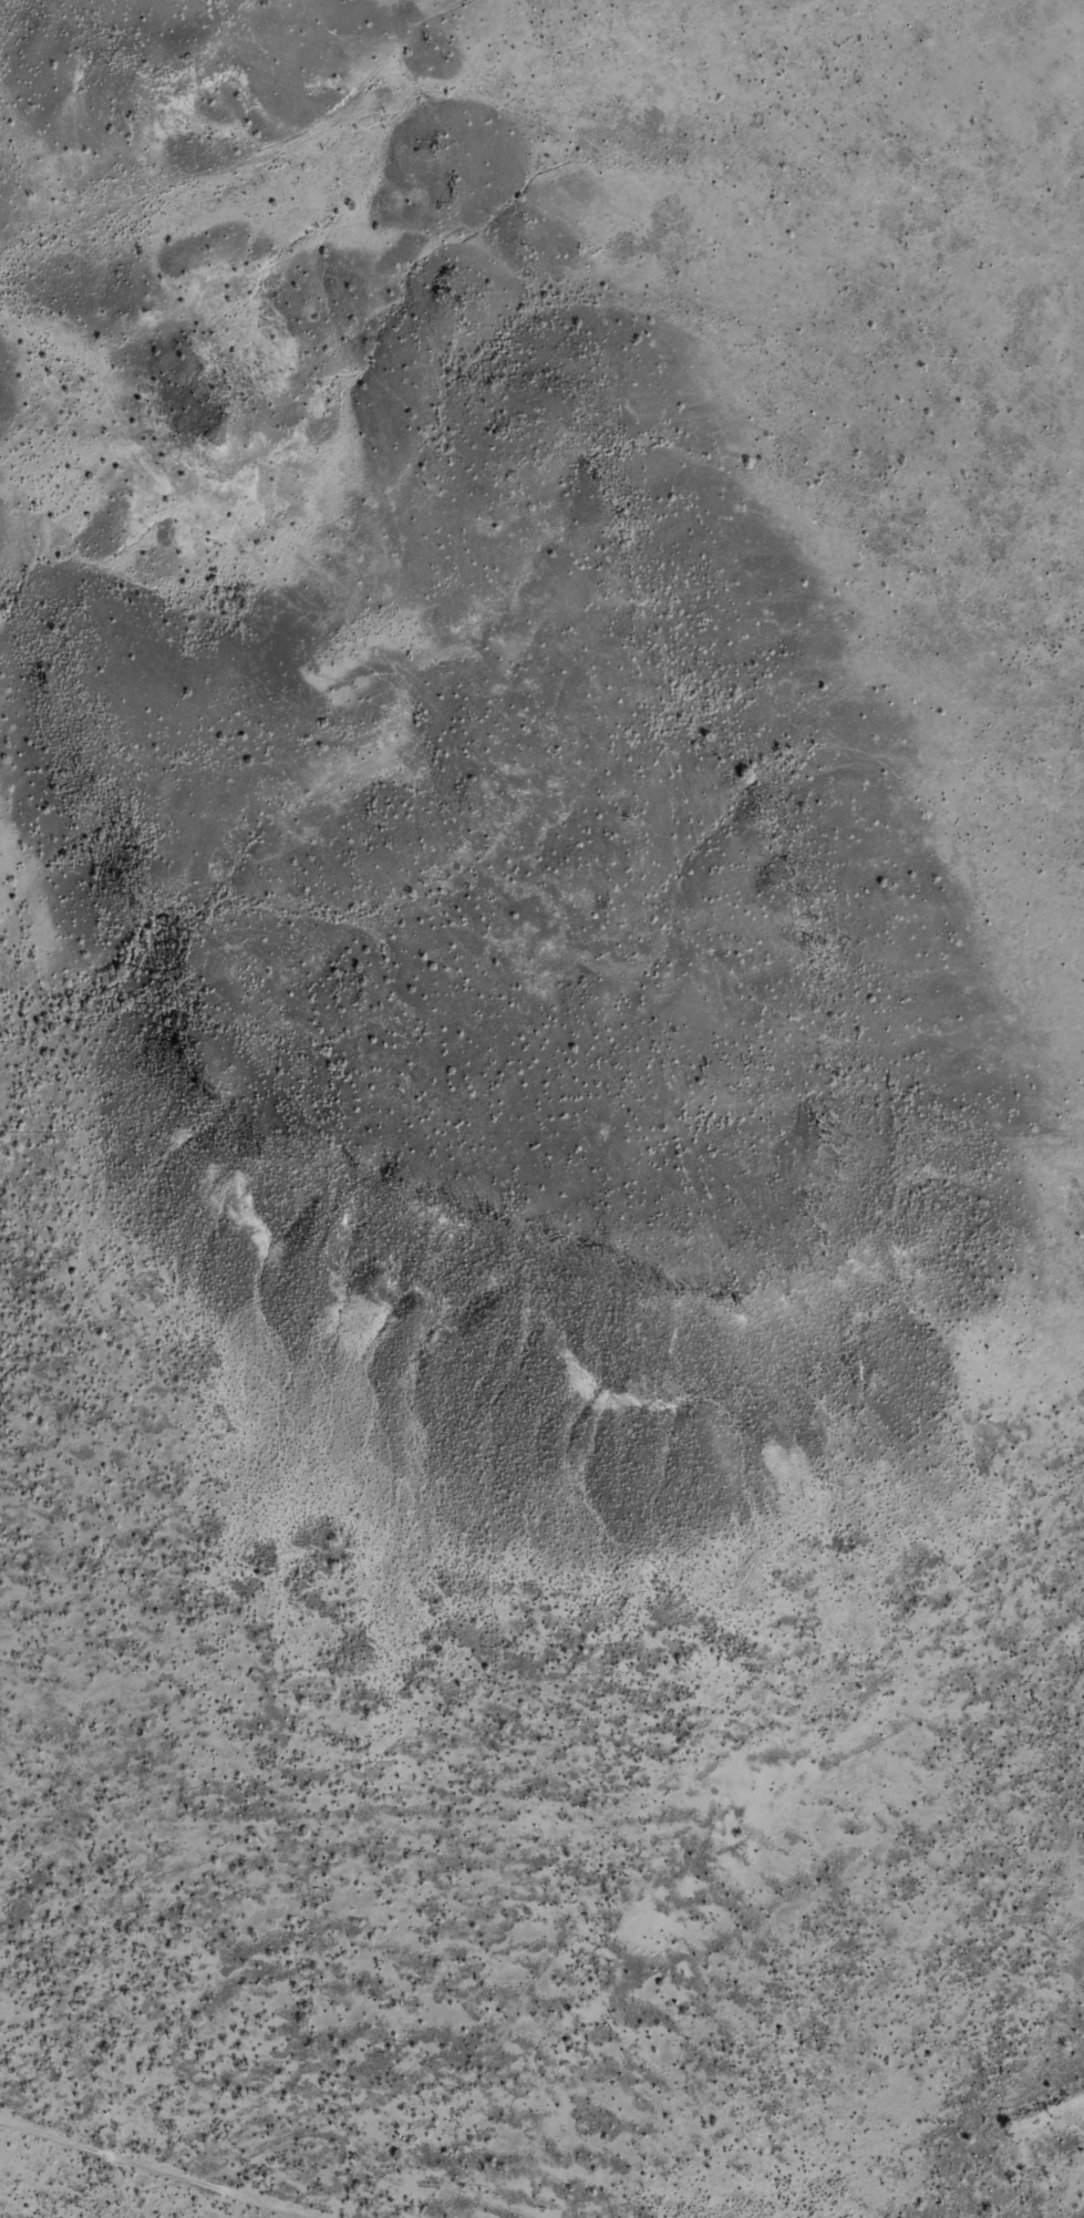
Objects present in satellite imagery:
road: (610, 1929)
road: (502, 2180)

